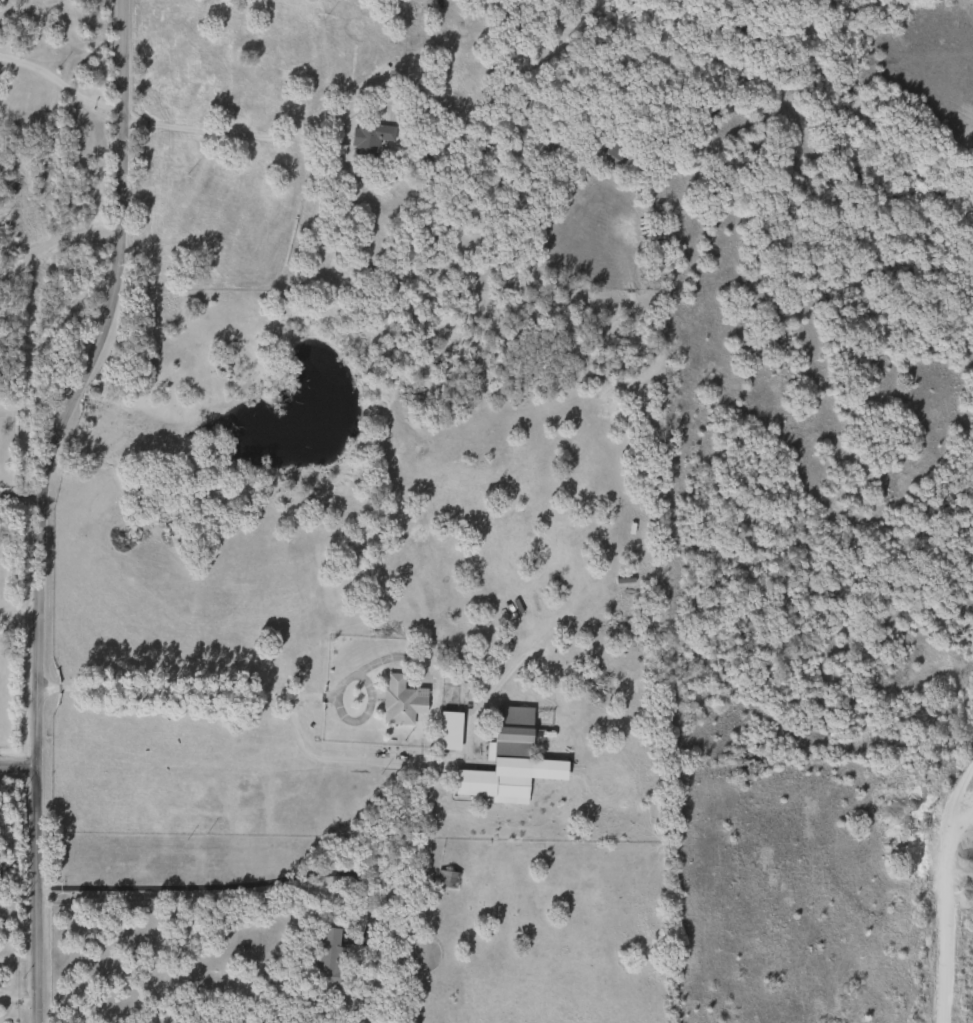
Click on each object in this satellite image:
road: (59, 83)
road: (271, 136)
building: (367, 140)
building: (553, 147)
building: (611, 155)
road: (54, 244)
road: (19, 494)
road: (38, 504)
road: (18, 610)
road: (265, 694)
building: (395, 701)
building: (508, 760)
road: (17, 769)
road: (944, 884)
road: (226, 885)
building: (325, 955)

